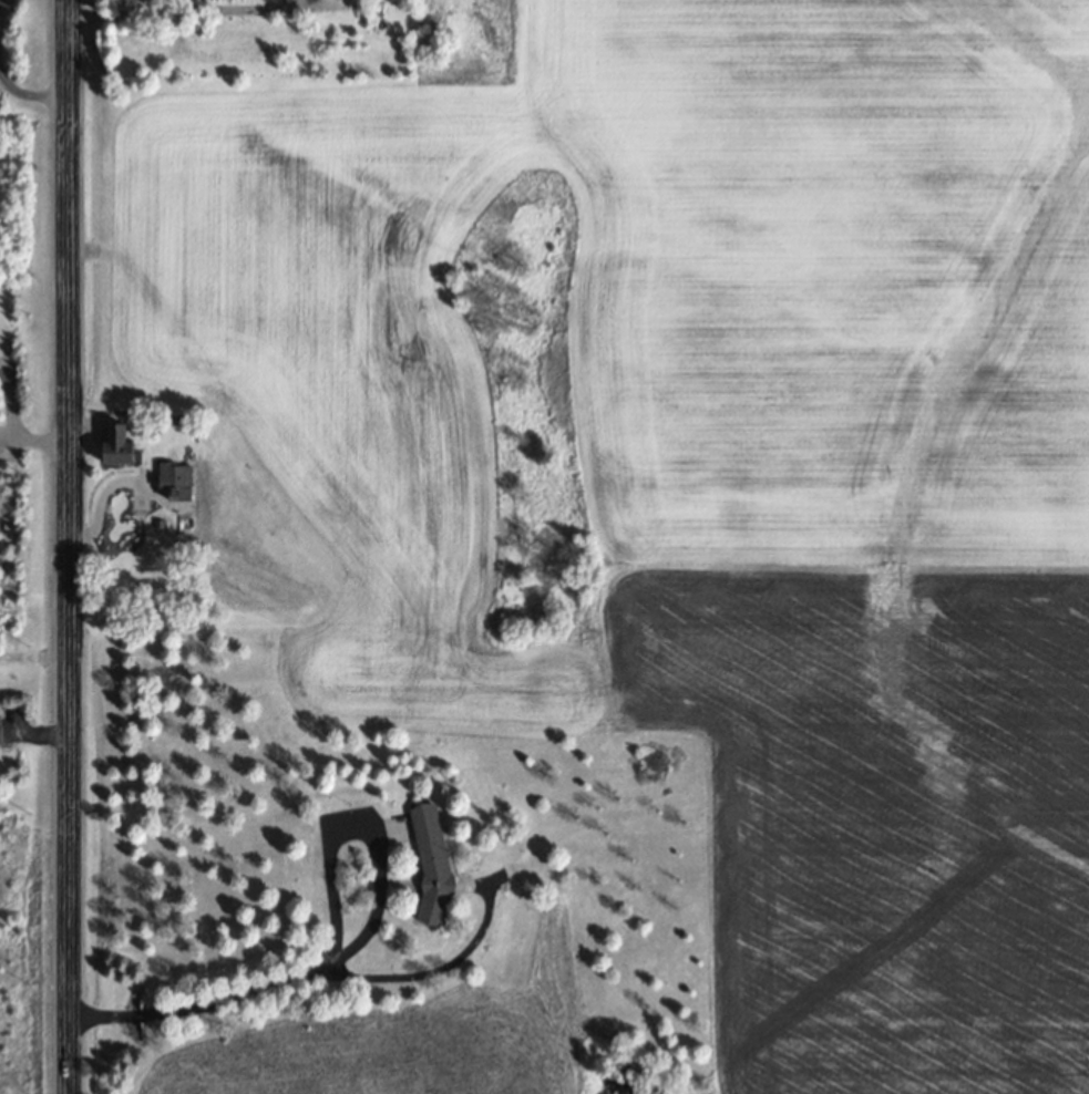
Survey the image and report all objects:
building: (113, 445)
building: (173, 481)
road: (68, 546)
building: (428, 863)

